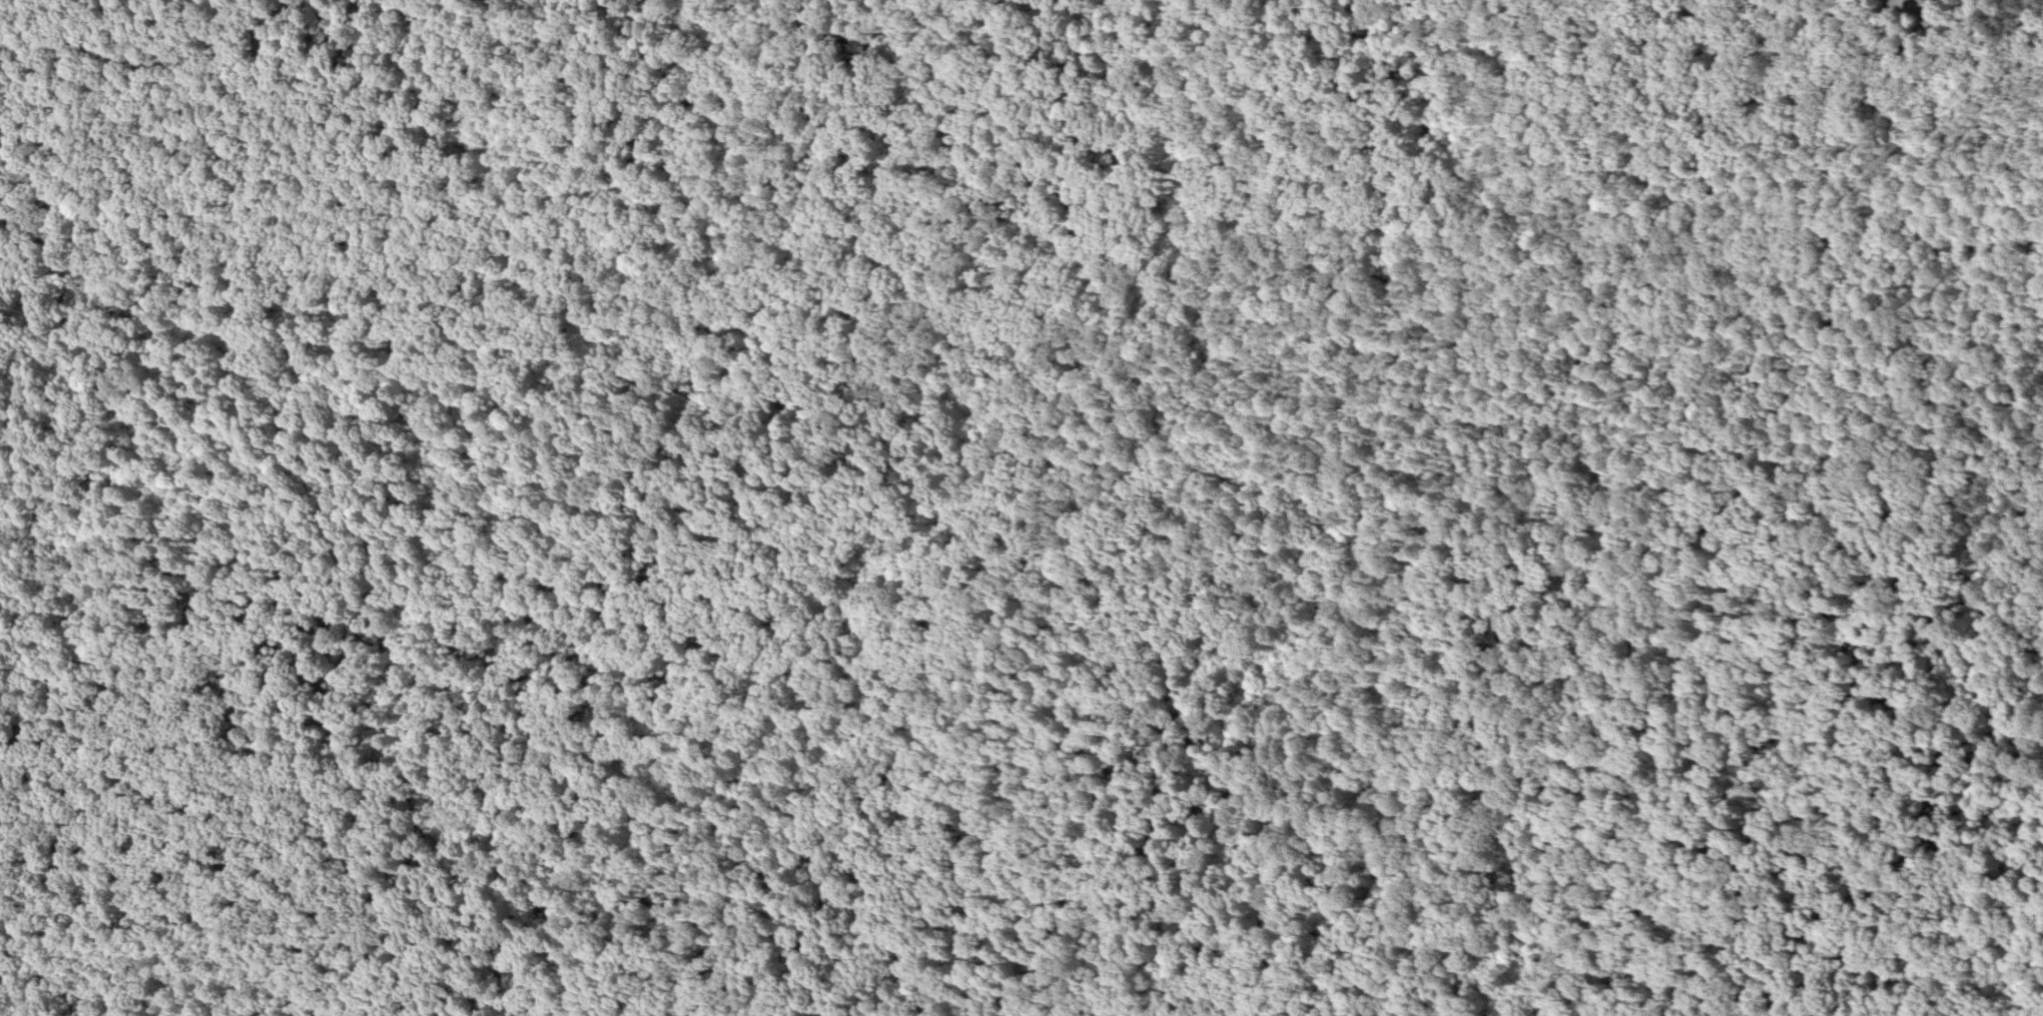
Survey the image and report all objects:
park: (1925, 18)
road: (157, 62)

